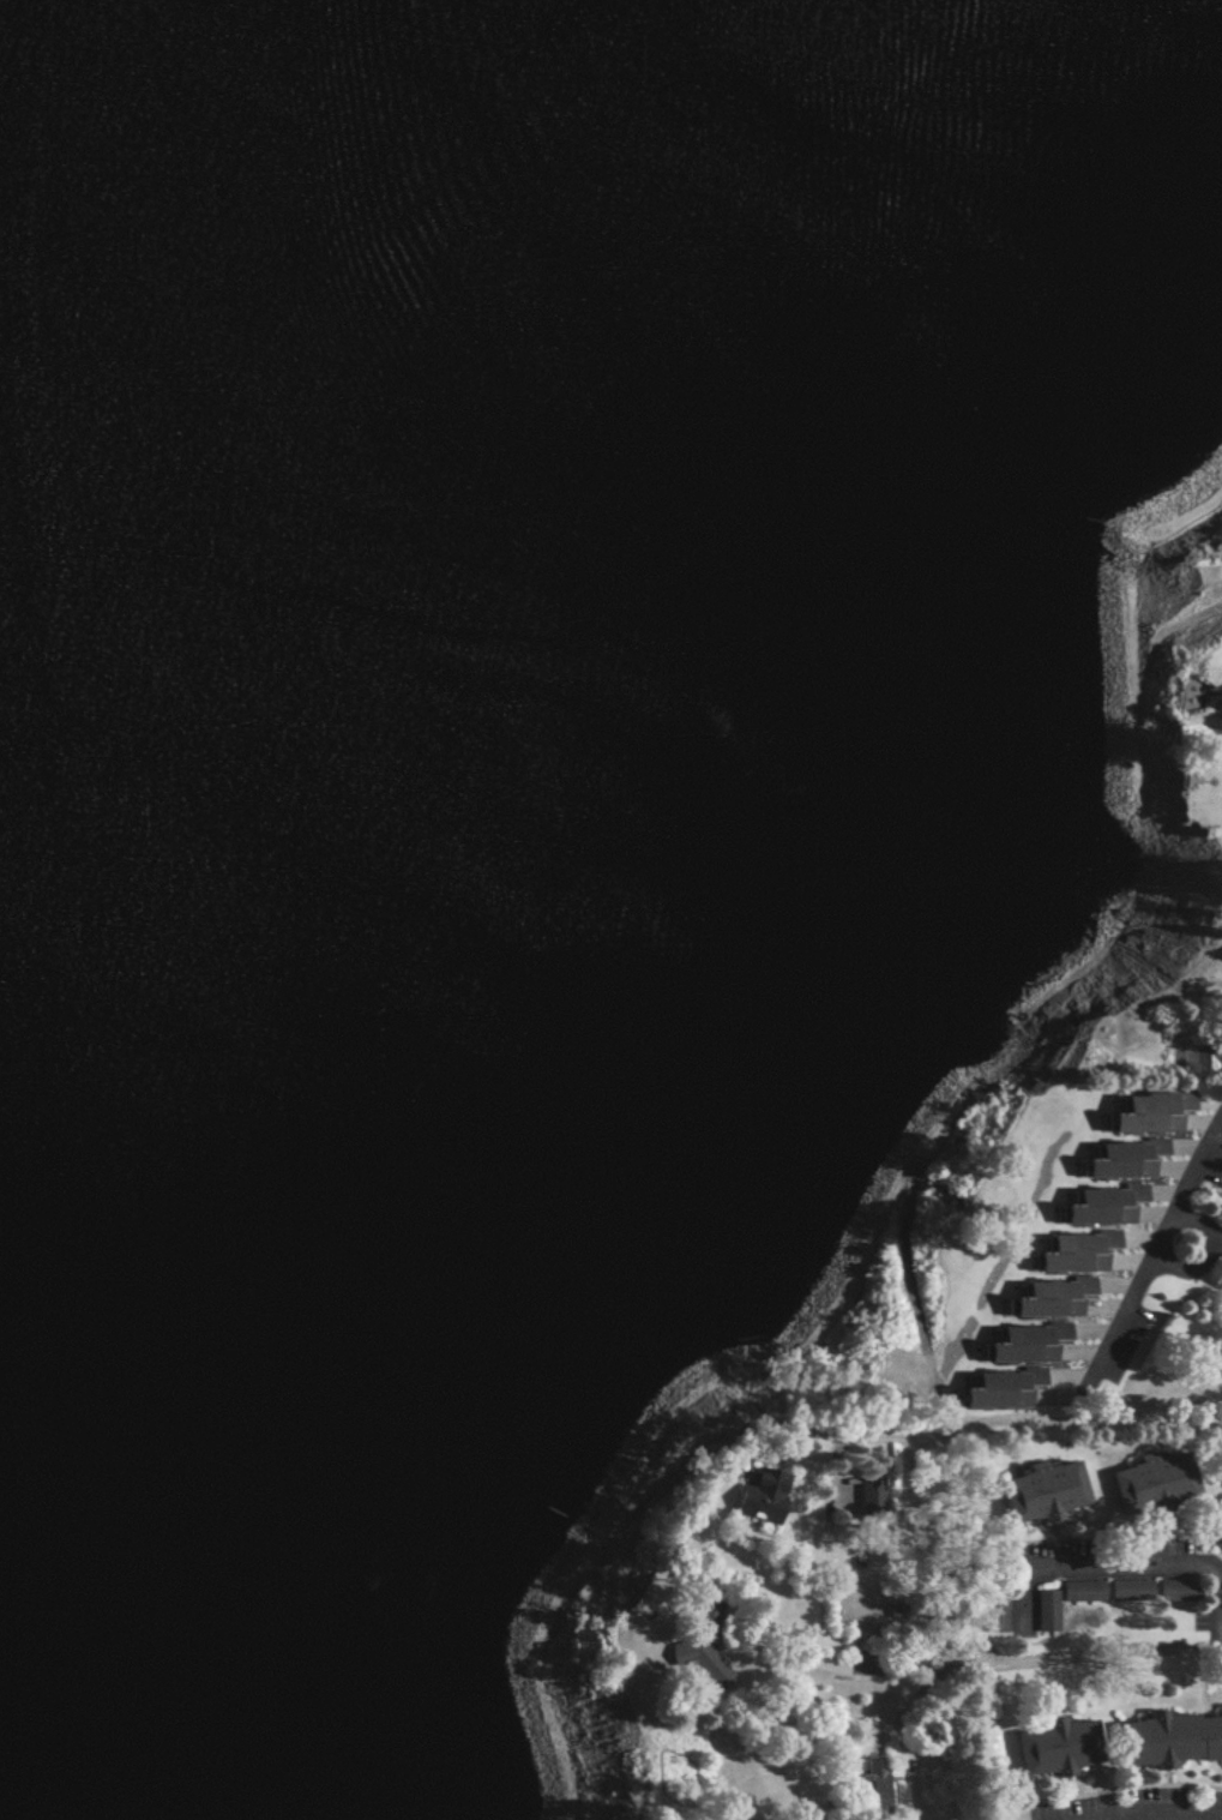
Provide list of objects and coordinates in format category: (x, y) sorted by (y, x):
building: (1145, 1111)
building: (1120, 1158)
building: (1098, 1205)
road: (1196, 1235)
road: (1164, 1244)
building: (1072, 1250)
building: (1047, 1296)
building: (1021, 1341)
building: (998, 1386)
building: (1149, 1483)
building: (1035, 1490)
building: (752, 1495)
building: (866, 1496)
road: (1131, 1566)
building: (1043, 1610)
building: (993, 1615)
building: (693, 1652)
road: (795, 1668)
road: (1009, 1668)
building: (1167, 1738)
building: (1053, 1747)
building: (866, 1785)
road: (1161, 1815)

